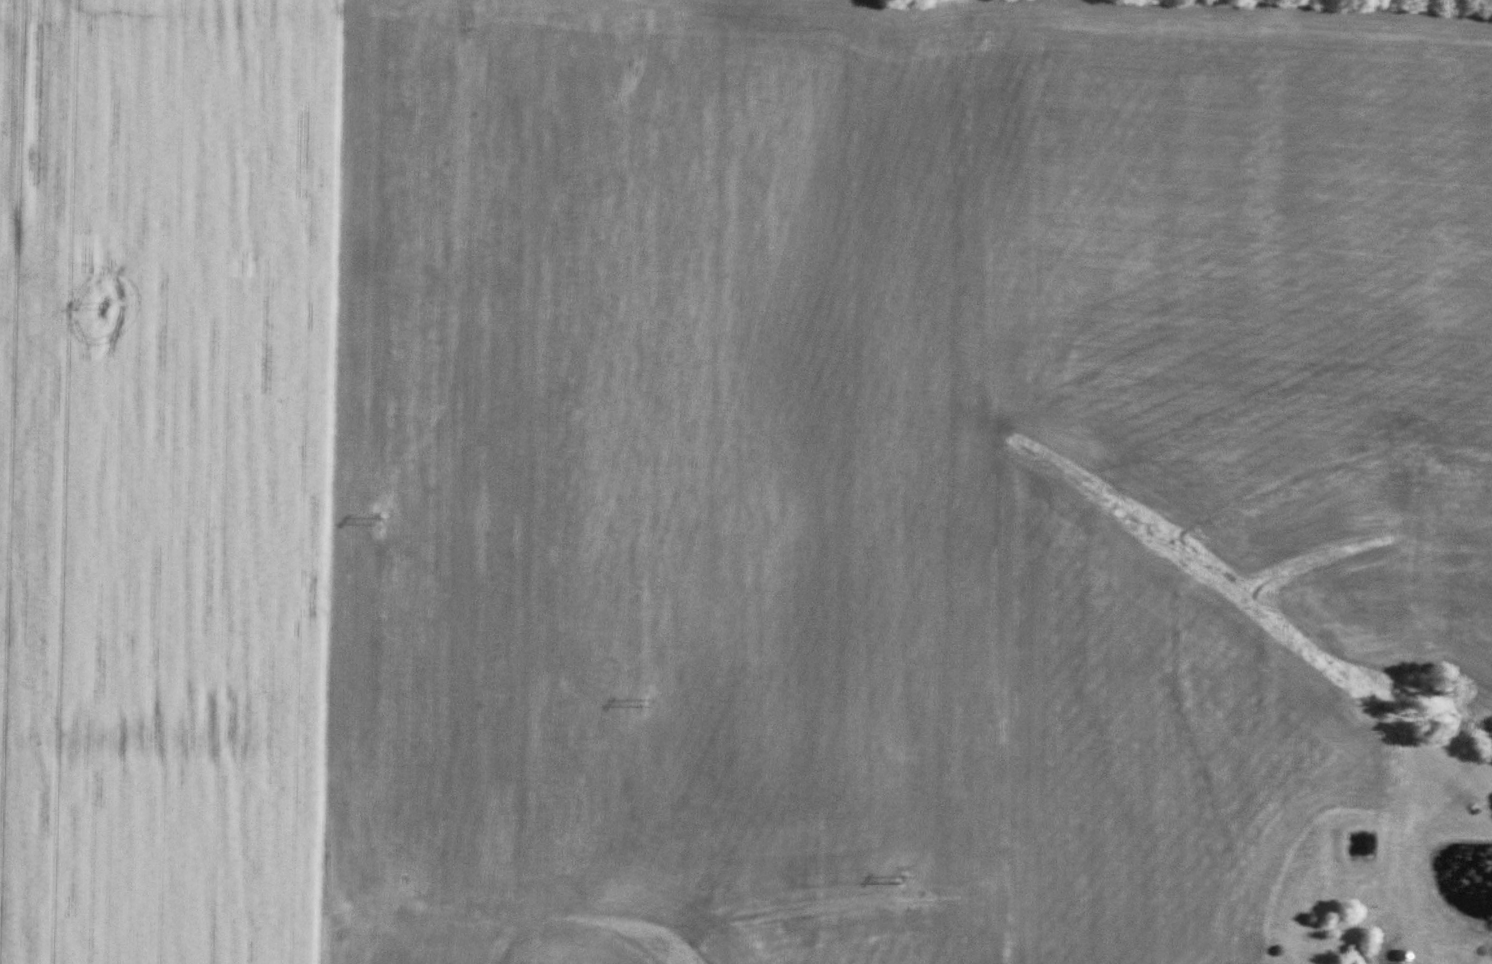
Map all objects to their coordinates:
building: (1310, 944)

